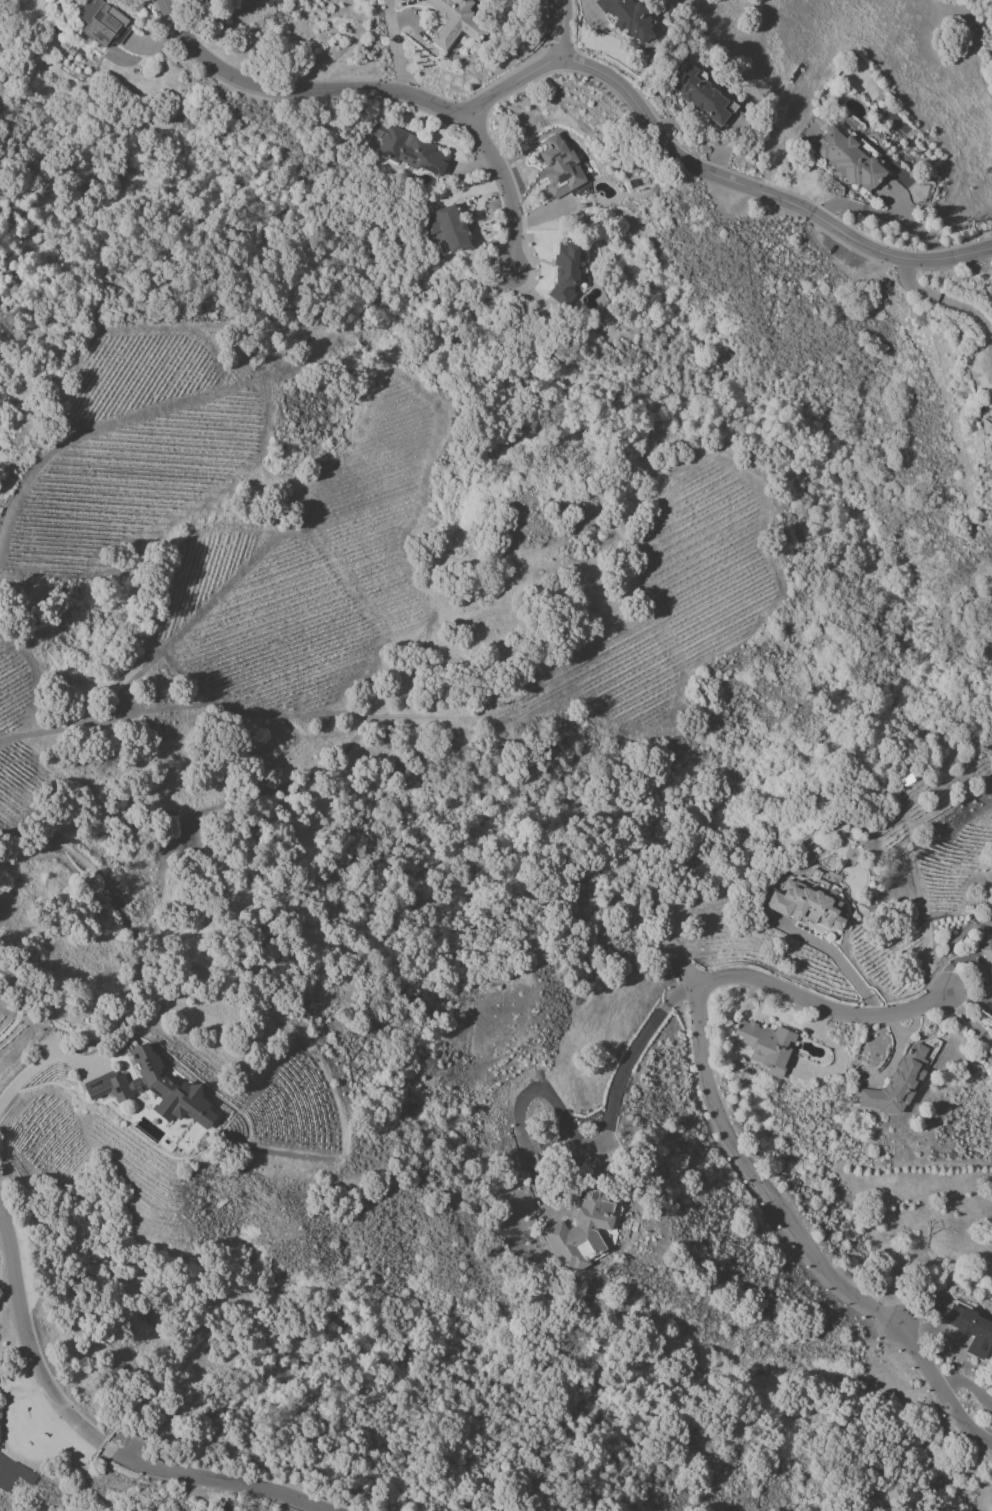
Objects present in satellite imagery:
building: (209, 0)
building: (629, 19)
building: (99, 21)
building: (456, 21)
road: (560, 29)
road: (394, 46)
road: (295, 90)
building: (702, 98)
building: (410, 151)
building: (560, 167)
road: (709, 172)
road: (505, 185)
building: (447, 227)
building: (565, 272)
road: (945, 300)
building: (989, 430)
building: (804, 906)
building: (987, 951)
road: (827, 1006)
road: (971, 1018)
building: (766, 1046)
road: (36, 1065)
building: (897, 1082)
building: (108, 1086)
building: (168, 1091)
road: (605, 1138)
building: (580, 1232)
road: (804, 1241)
building: (970, 1329)
road: (29, 1337)
building: (12, 1474)
road: (216, 1479)

